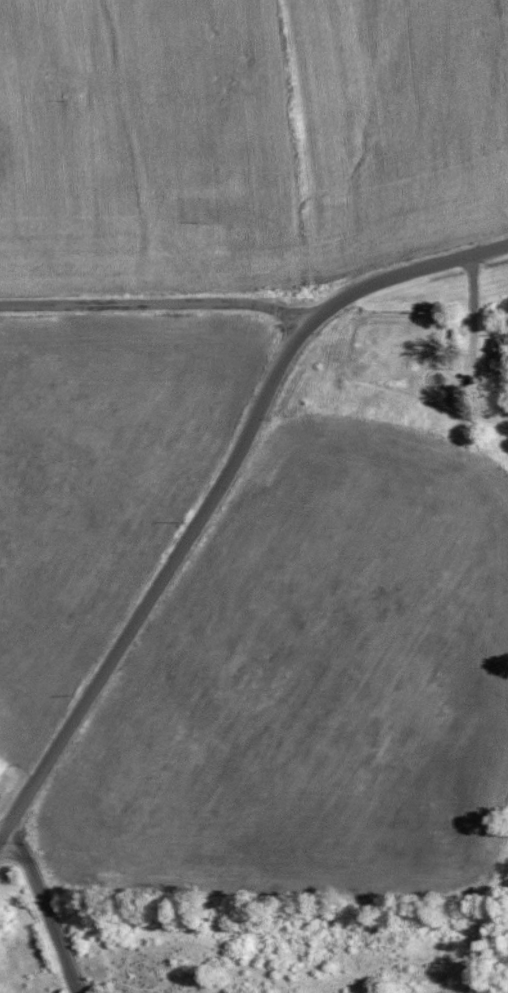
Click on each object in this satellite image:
road: (404, 272)
road: (157, 303)
building: (499, 352)
building: (459, 395)
road: (160, 583)
road: (47, 909)

